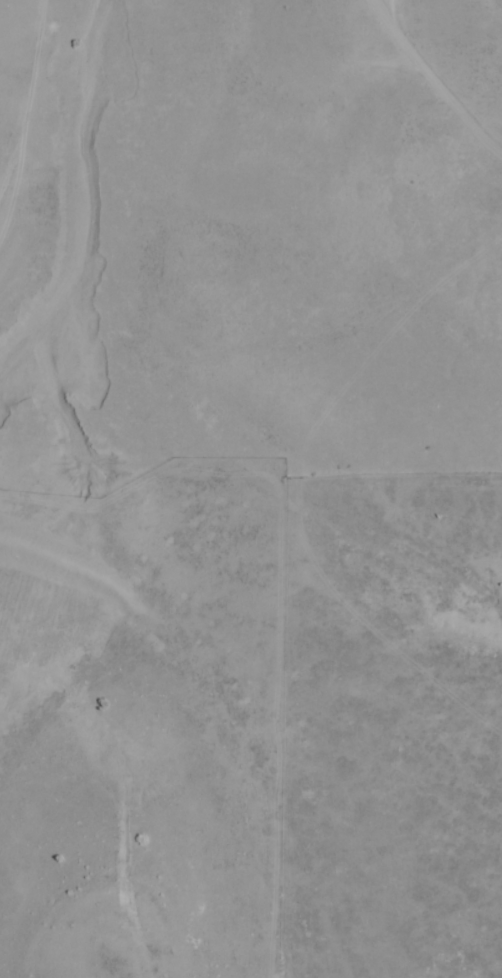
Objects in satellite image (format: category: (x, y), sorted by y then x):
road: (337, 183)
road: (77, 185)

